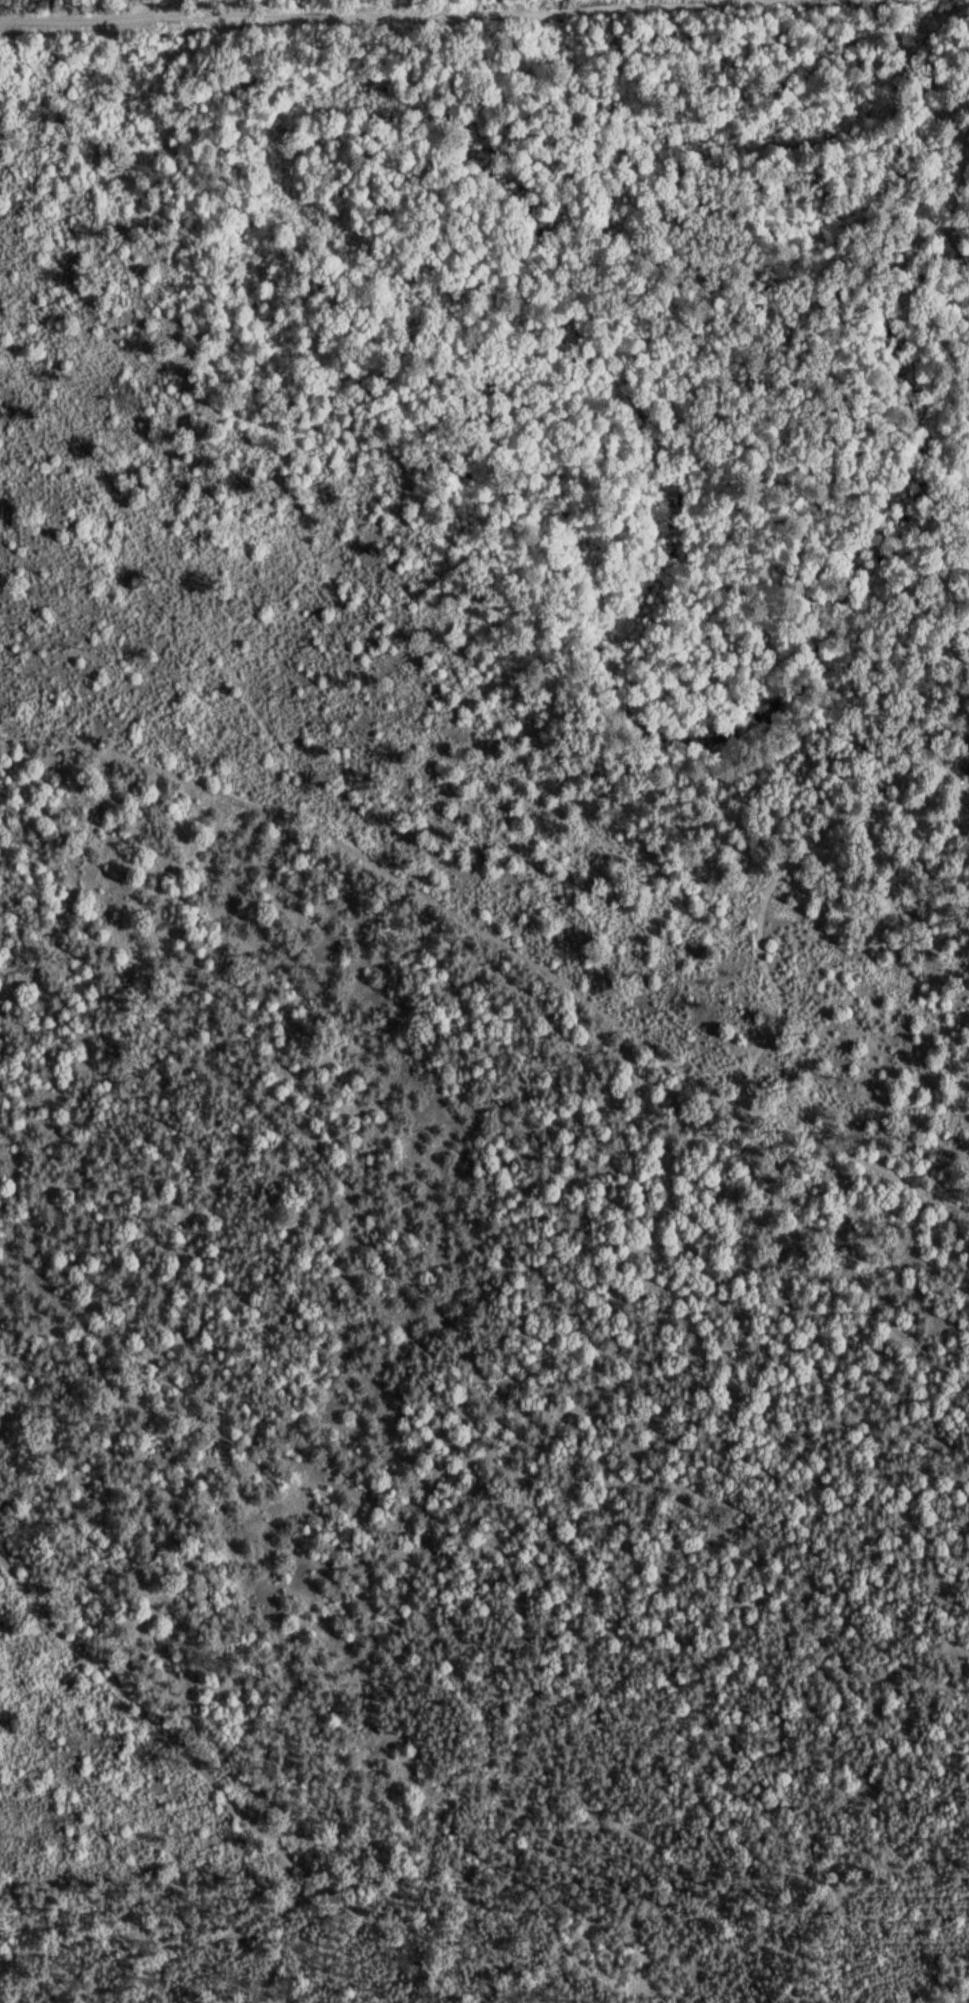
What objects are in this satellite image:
road: (62, 18)
building: (966, 767)
road: (492, 947)

